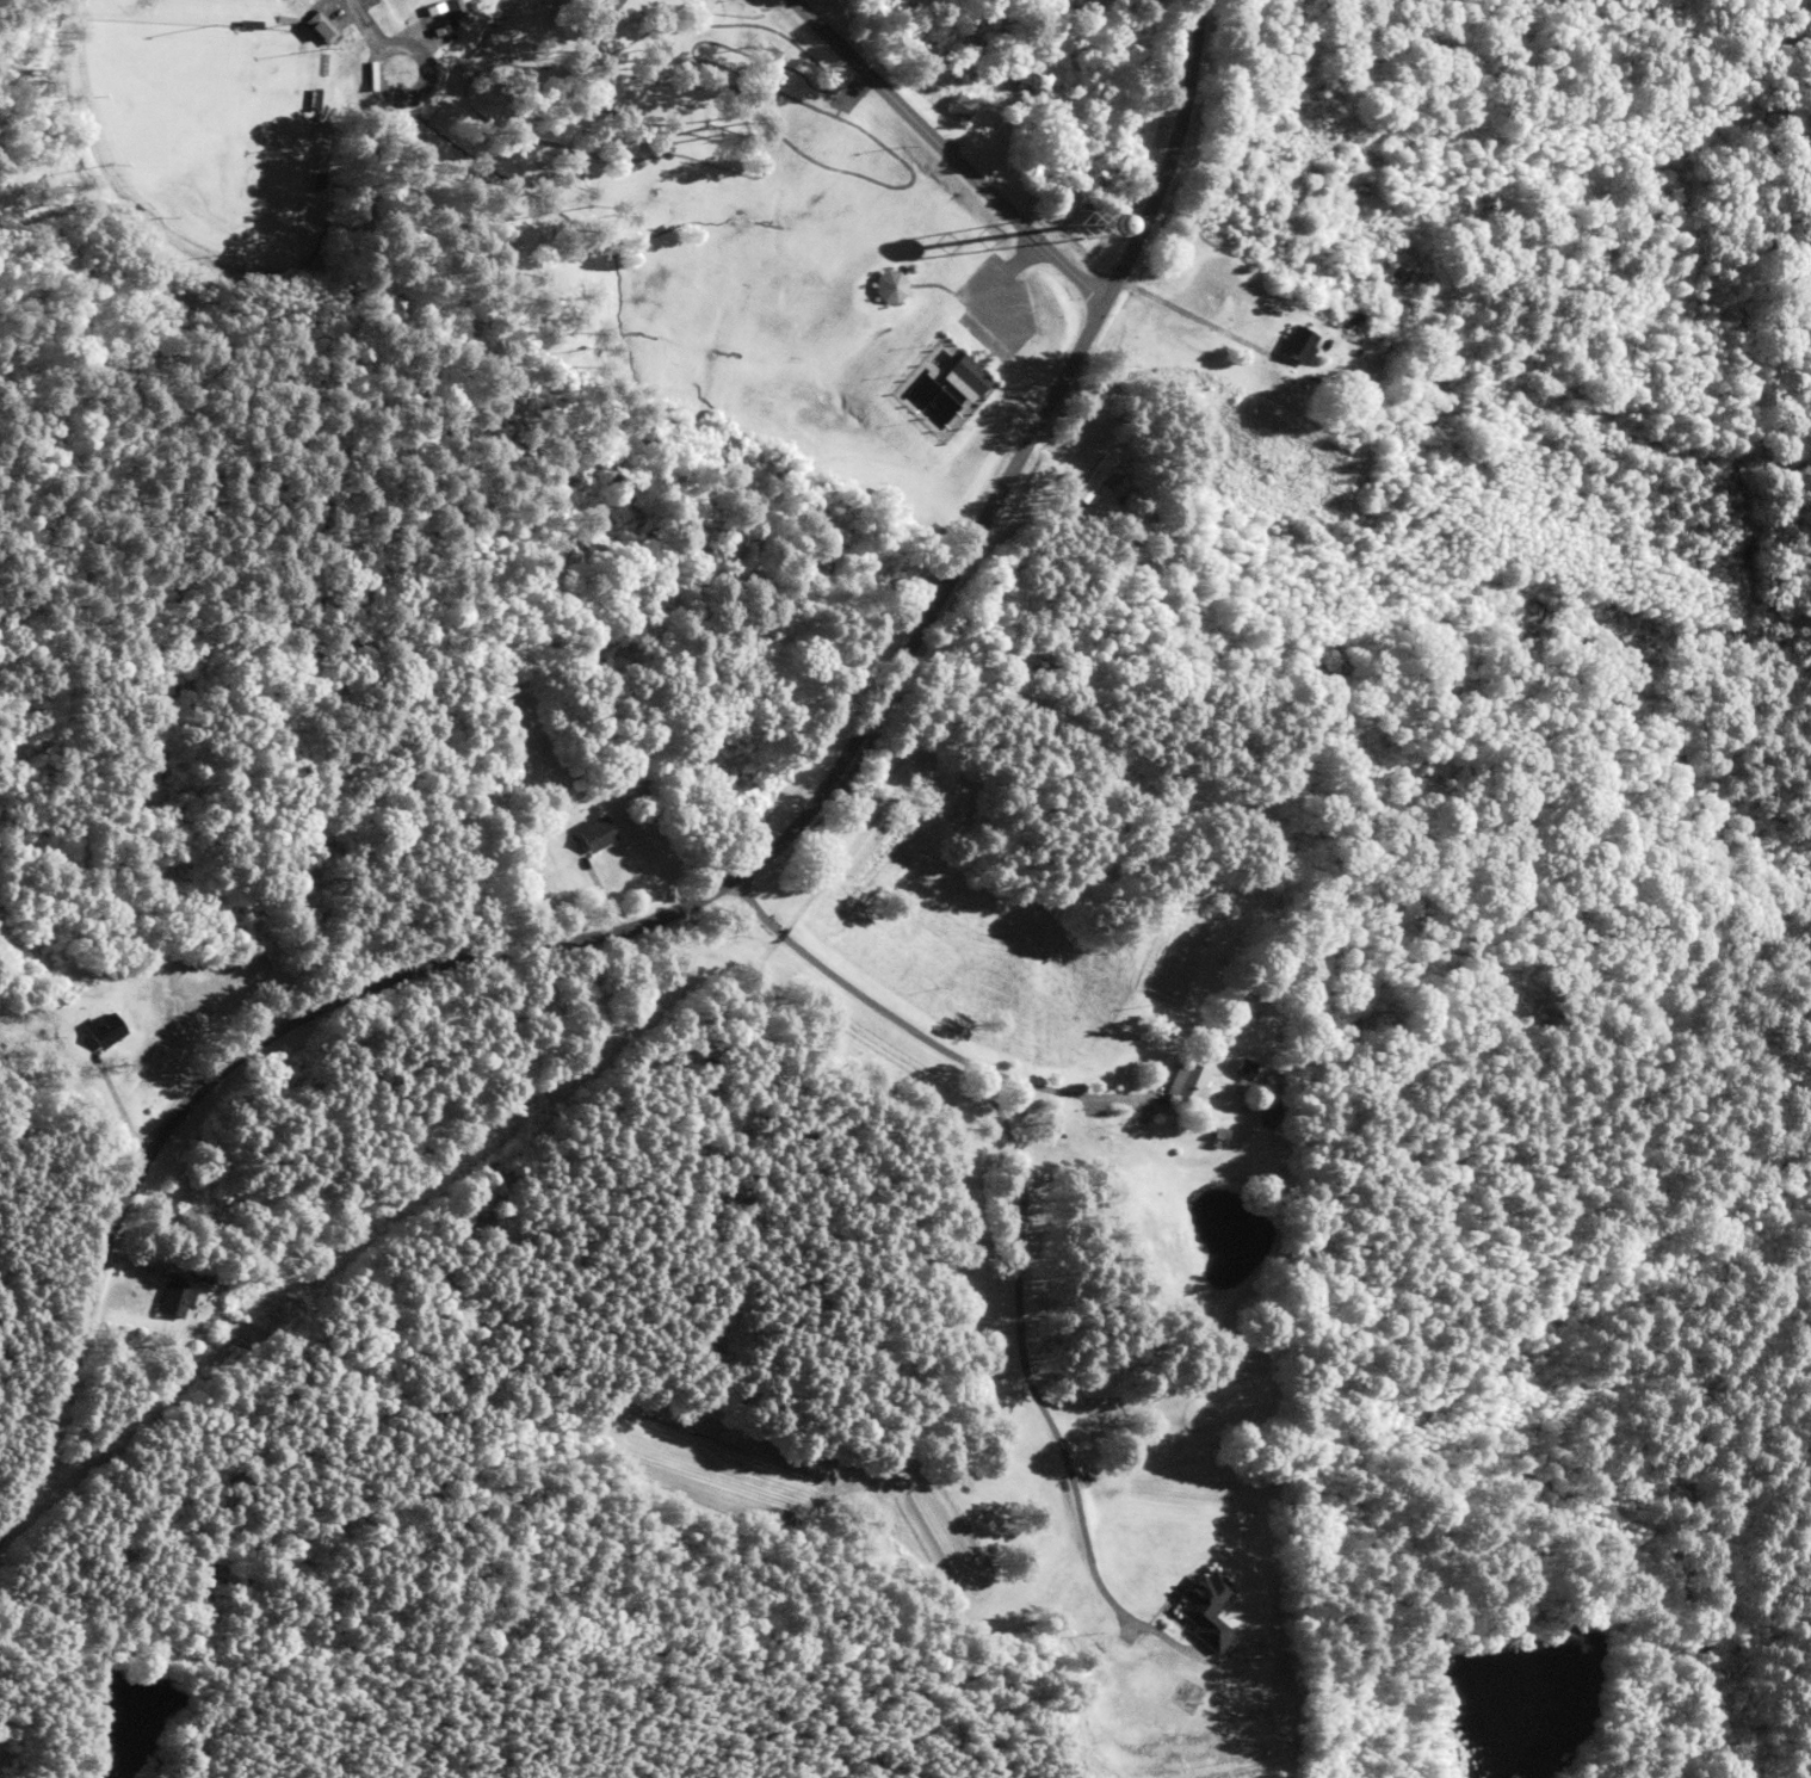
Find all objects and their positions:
building: (321, 29)
building: (962, 106)
road: (966, 136)
building: (896, 285)
building: (1291, 345)
building: (970, 377)
building: (1099, 474)
building: (587, 834)
road: (694, 893)
building: (100, 1030)
building: (1236, 1068)
building: (1180, 1082)
building: (1262, 1110)
building: (174, 1299)
building: (1204, 1609)

